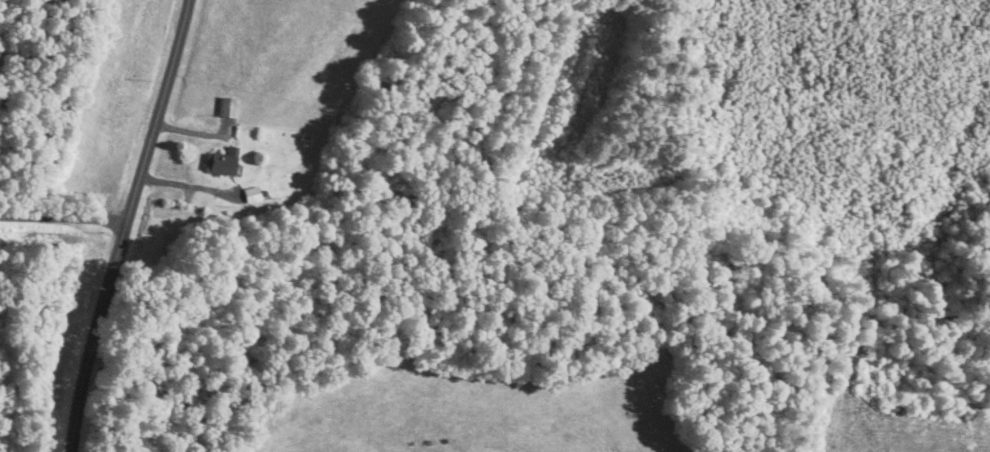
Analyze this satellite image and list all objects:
building: (228, 105)
building: (222, 161)
road: (187, 186)
building: (252, 193)
road: (63, 216)
road: (126, 225)

